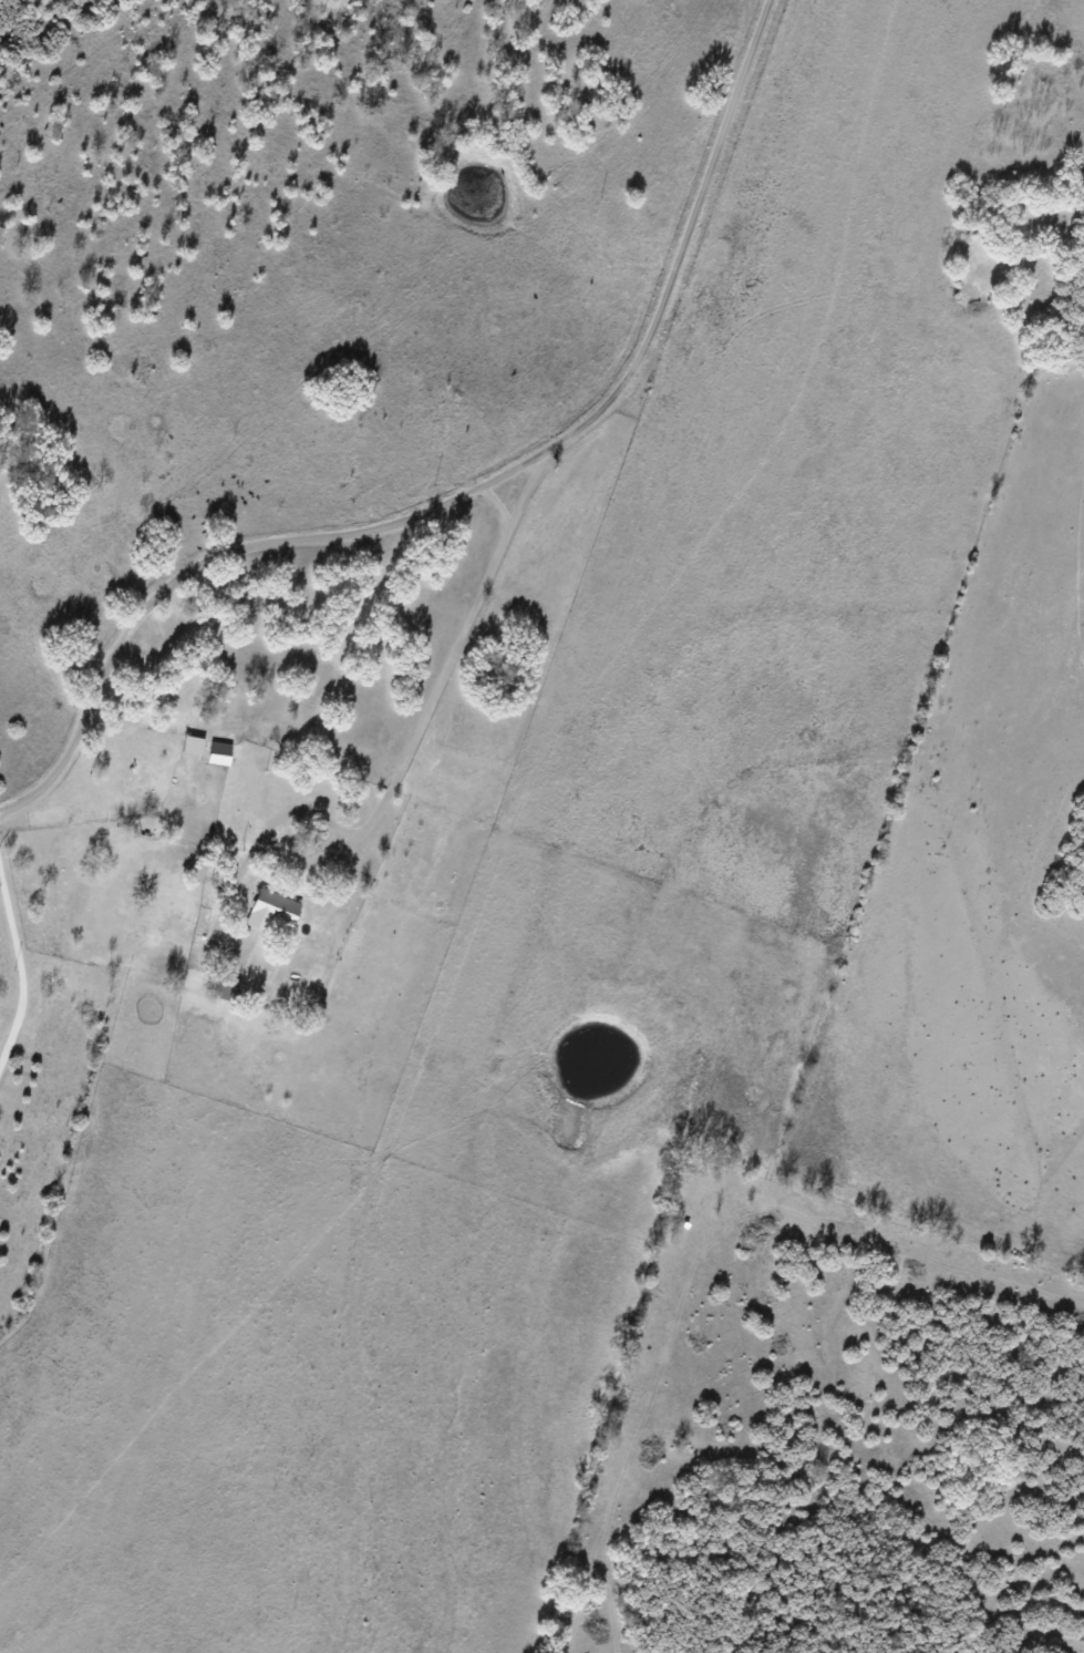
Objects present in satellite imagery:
road: (464, 489)
building: (192, 743)
building: (270, 908)

